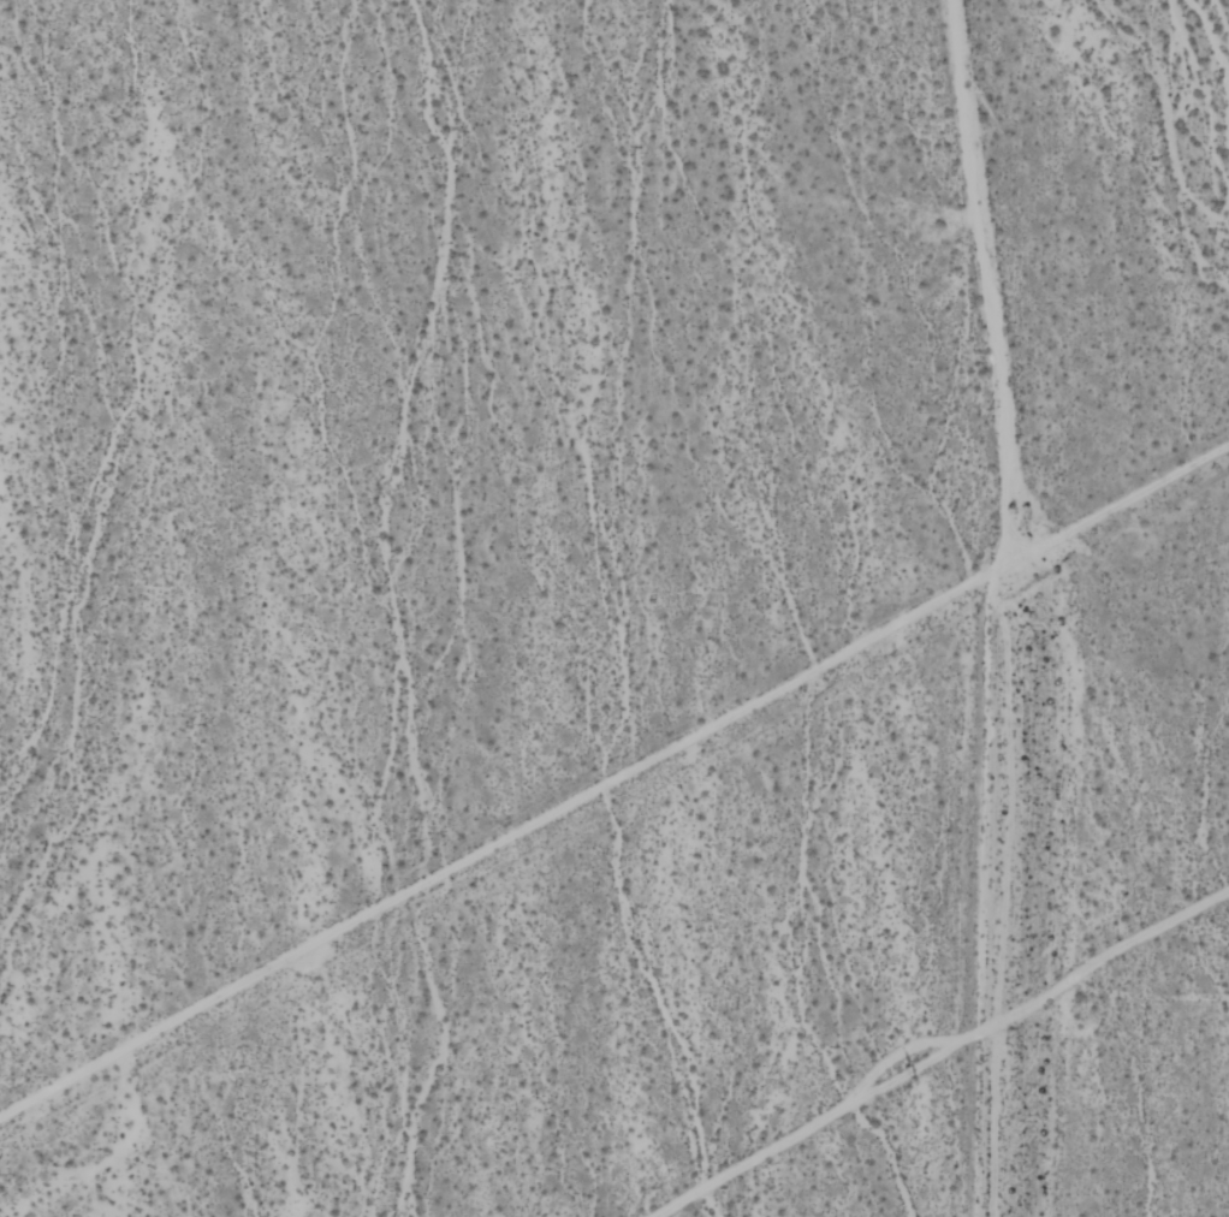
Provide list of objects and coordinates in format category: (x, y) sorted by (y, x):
road: (613, 778)
power tower: (920, 1071)

